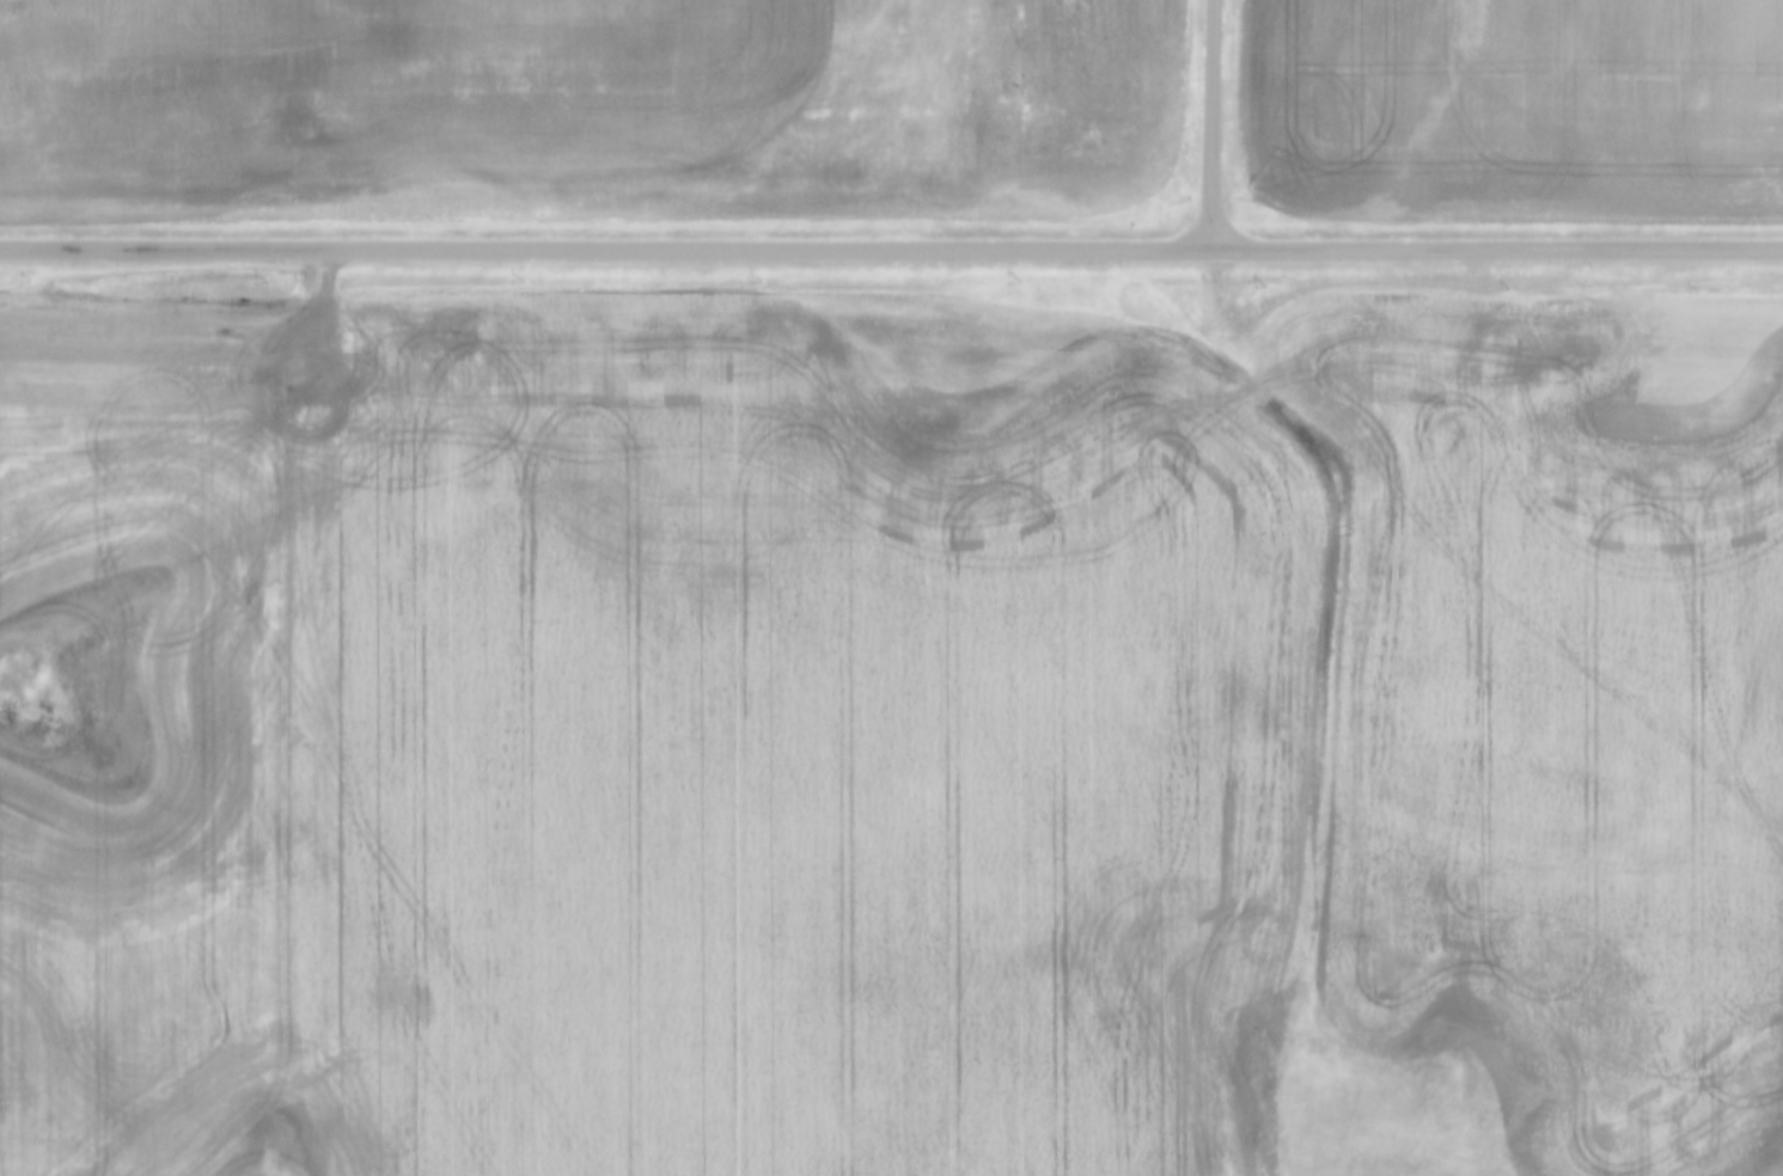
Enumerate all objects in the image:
road: (1217, 124)
road: (891, 249)

